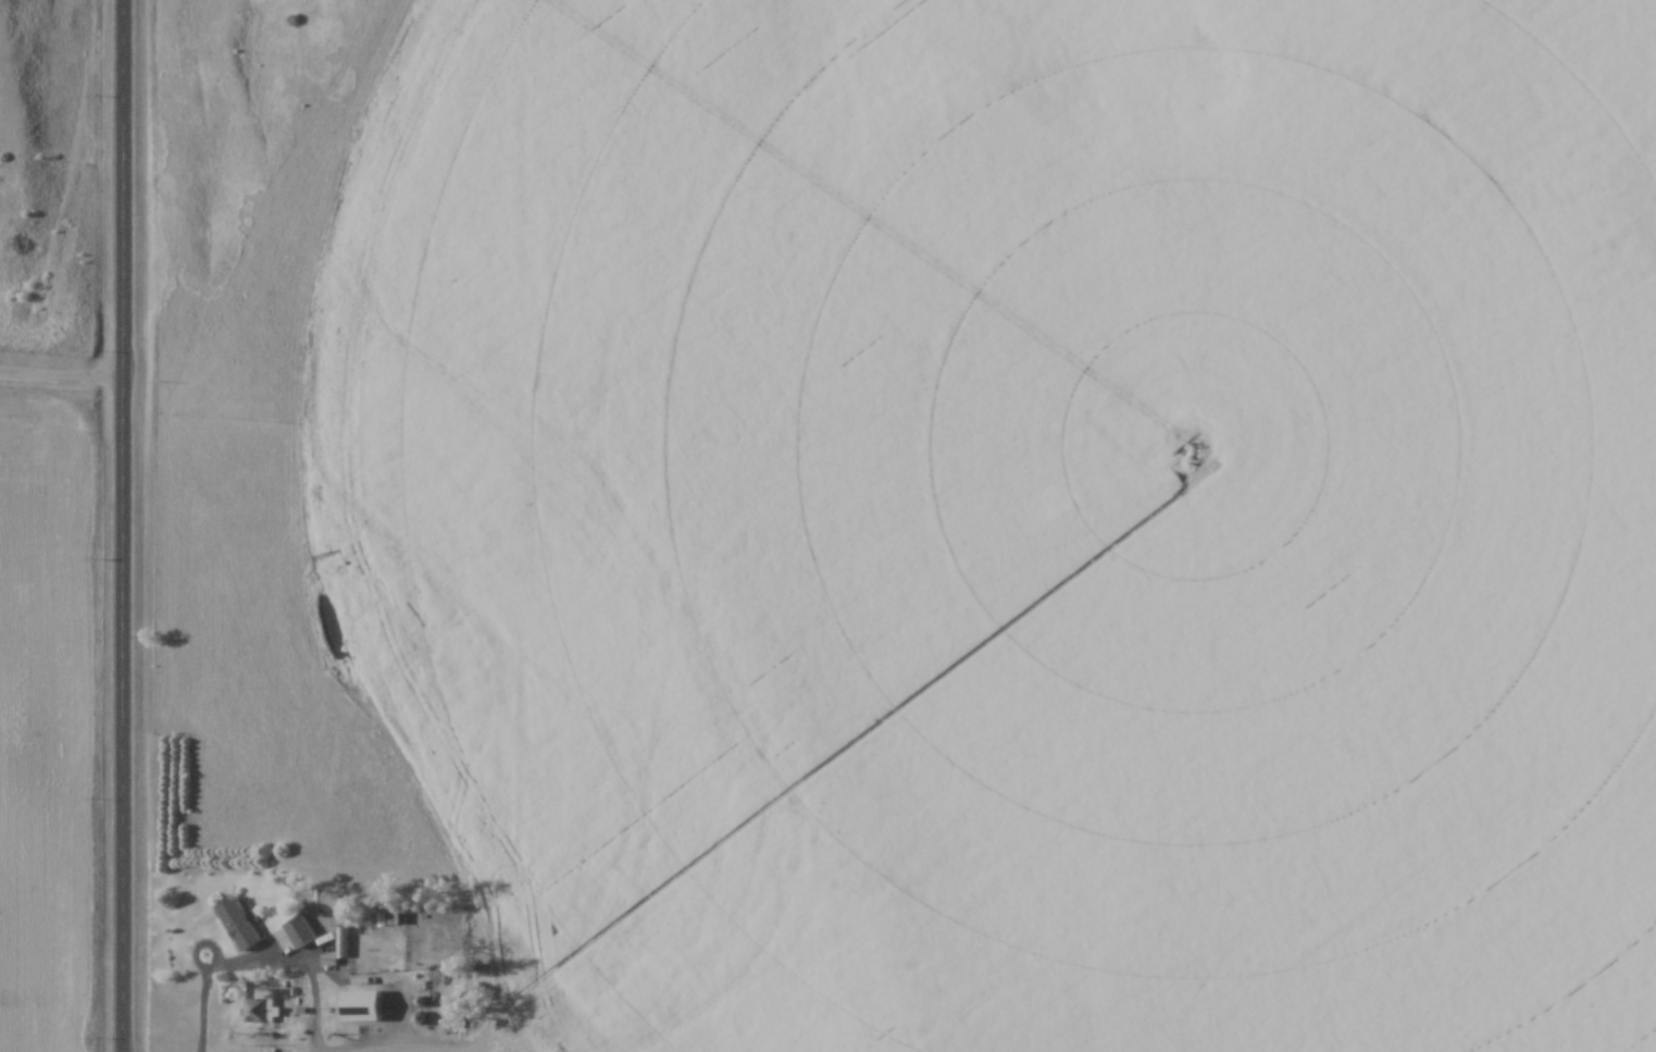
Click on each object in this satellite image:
road: (125, 525)
building: (245, 926)
building: (304, 935)
road: (209, 986)
building: (369, 1007)
building: (262, 1012)

